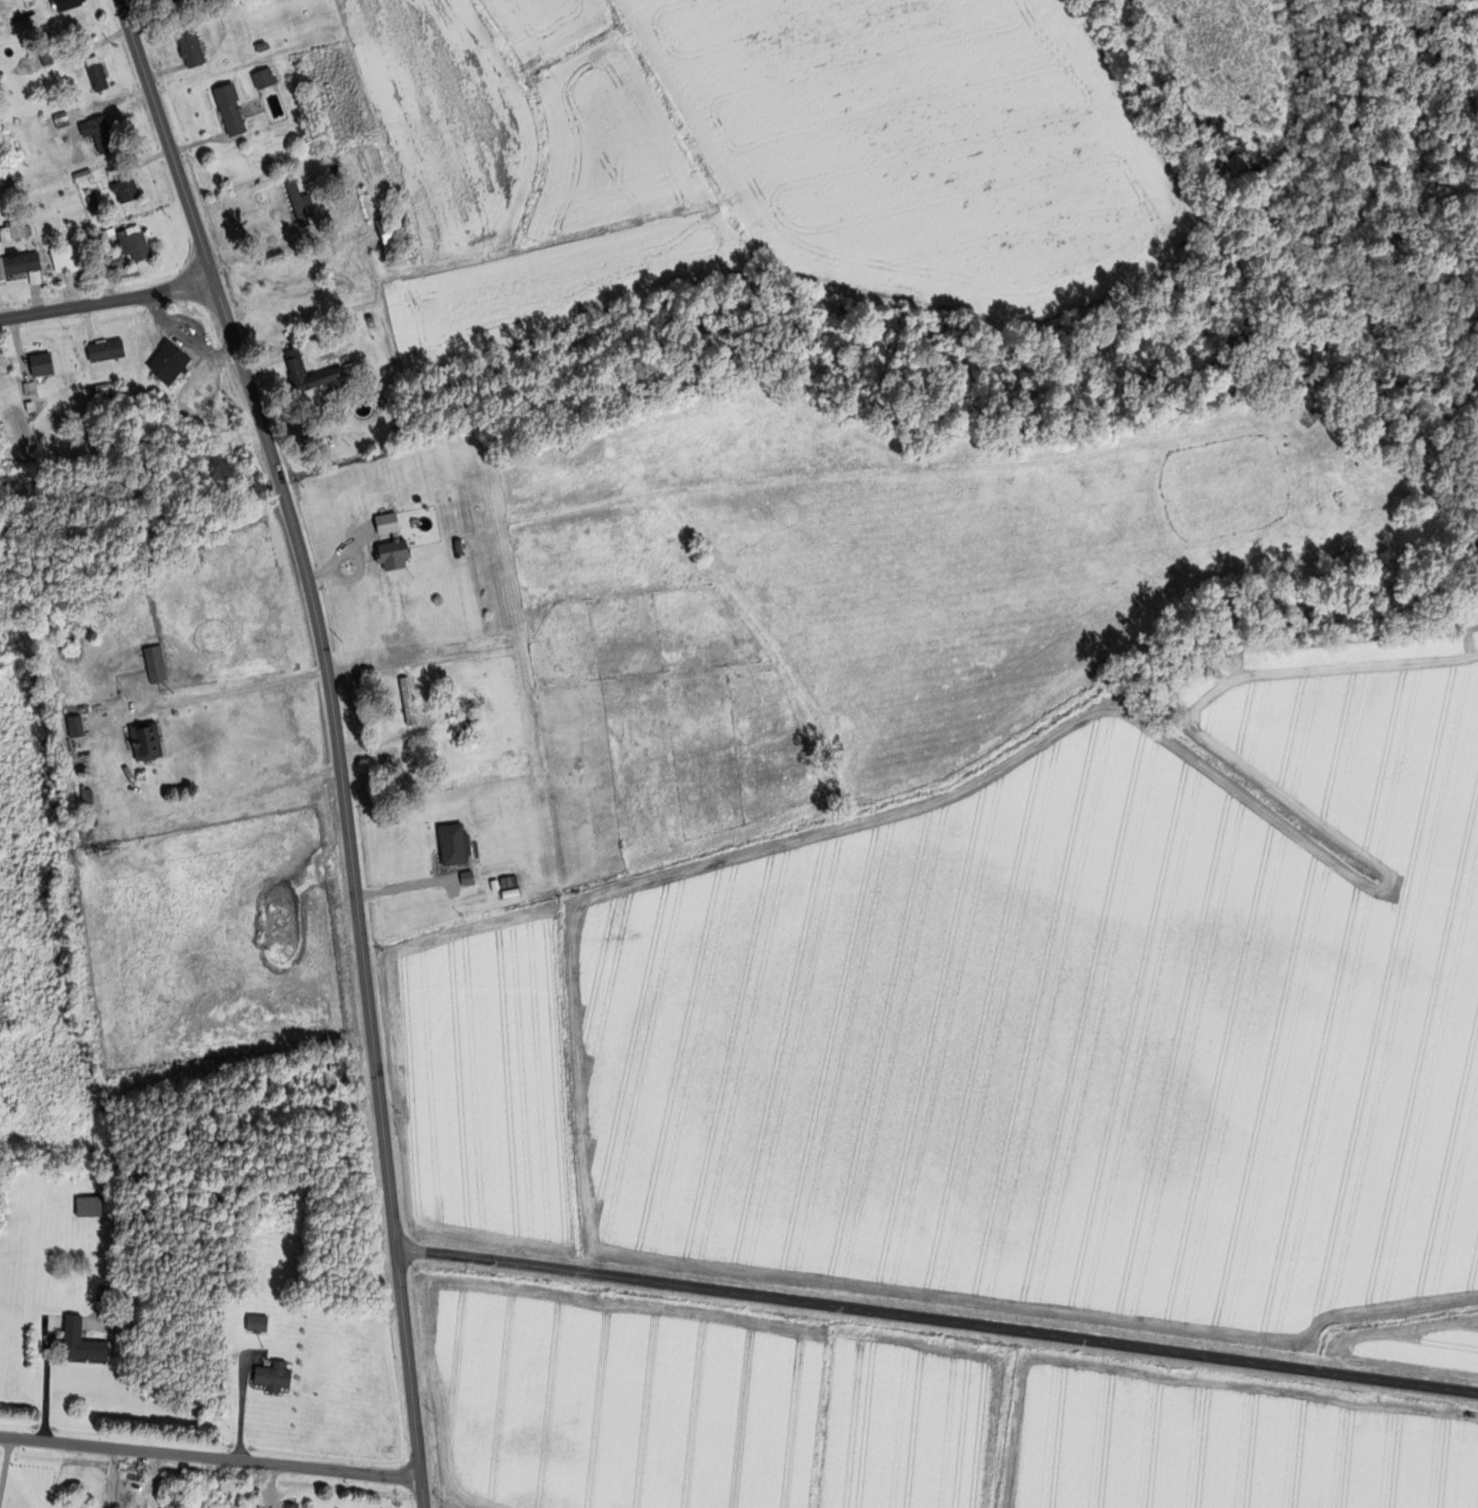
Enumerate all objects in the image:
building: (70, 4)
building: (193, 48)
building: (44, 58)
building: (99, 73)
building: (266, 78)
building: (233, 110)
building: (101, 133)
building: (374, 175)
building: (128, 191)
building: (303, 197)
building: (389, 230)
building: (16, 232)
building: (138, 244)
building: (70, 256)
building: (21, 264)
road: (108, 303)
building: (112, 348)
building: (172, 361)
building: (45, 362)
building: (344, 369)
building: (389, 522)
building: (397, 552)
building: (157, 664)
road: (255, 688)
building: (410, 700)
road: (339, 739)
building: (149, 741)
building: (560, 768)
building: (488, 771)
building: (456, 844)
building: (106, 849)
building: (326, 1081)
building: (91, 1206)
road: (937, 1318)
building: (259, 1323)
building: (85, 1342)
building: (273, 1376)
road: (211, 1456)
building: (294, 1505)

